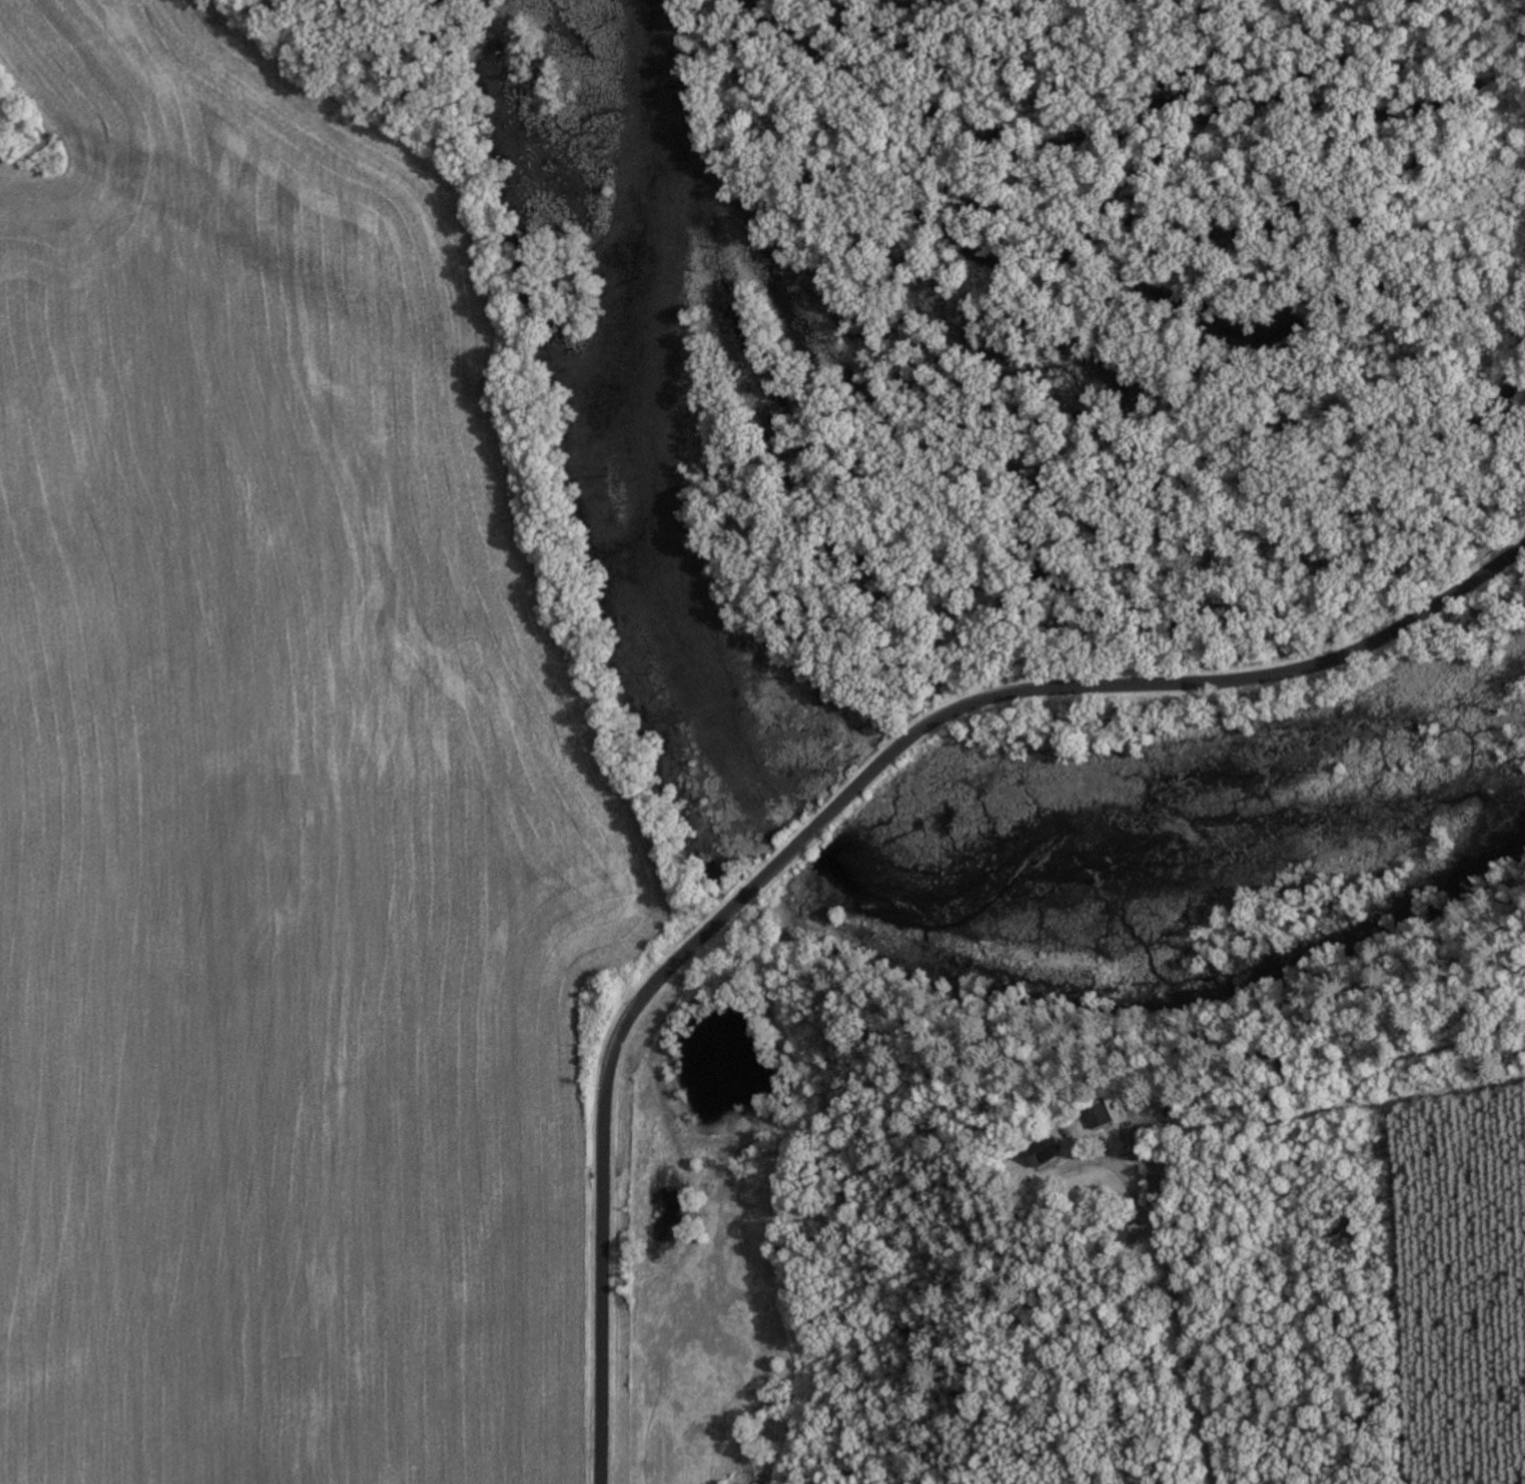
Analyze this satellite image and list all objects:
road: (836, 811)
building: (1098, 1119)
building: (1157, 1192)
building: (1123, 1235)
road: (1178, 1317)

